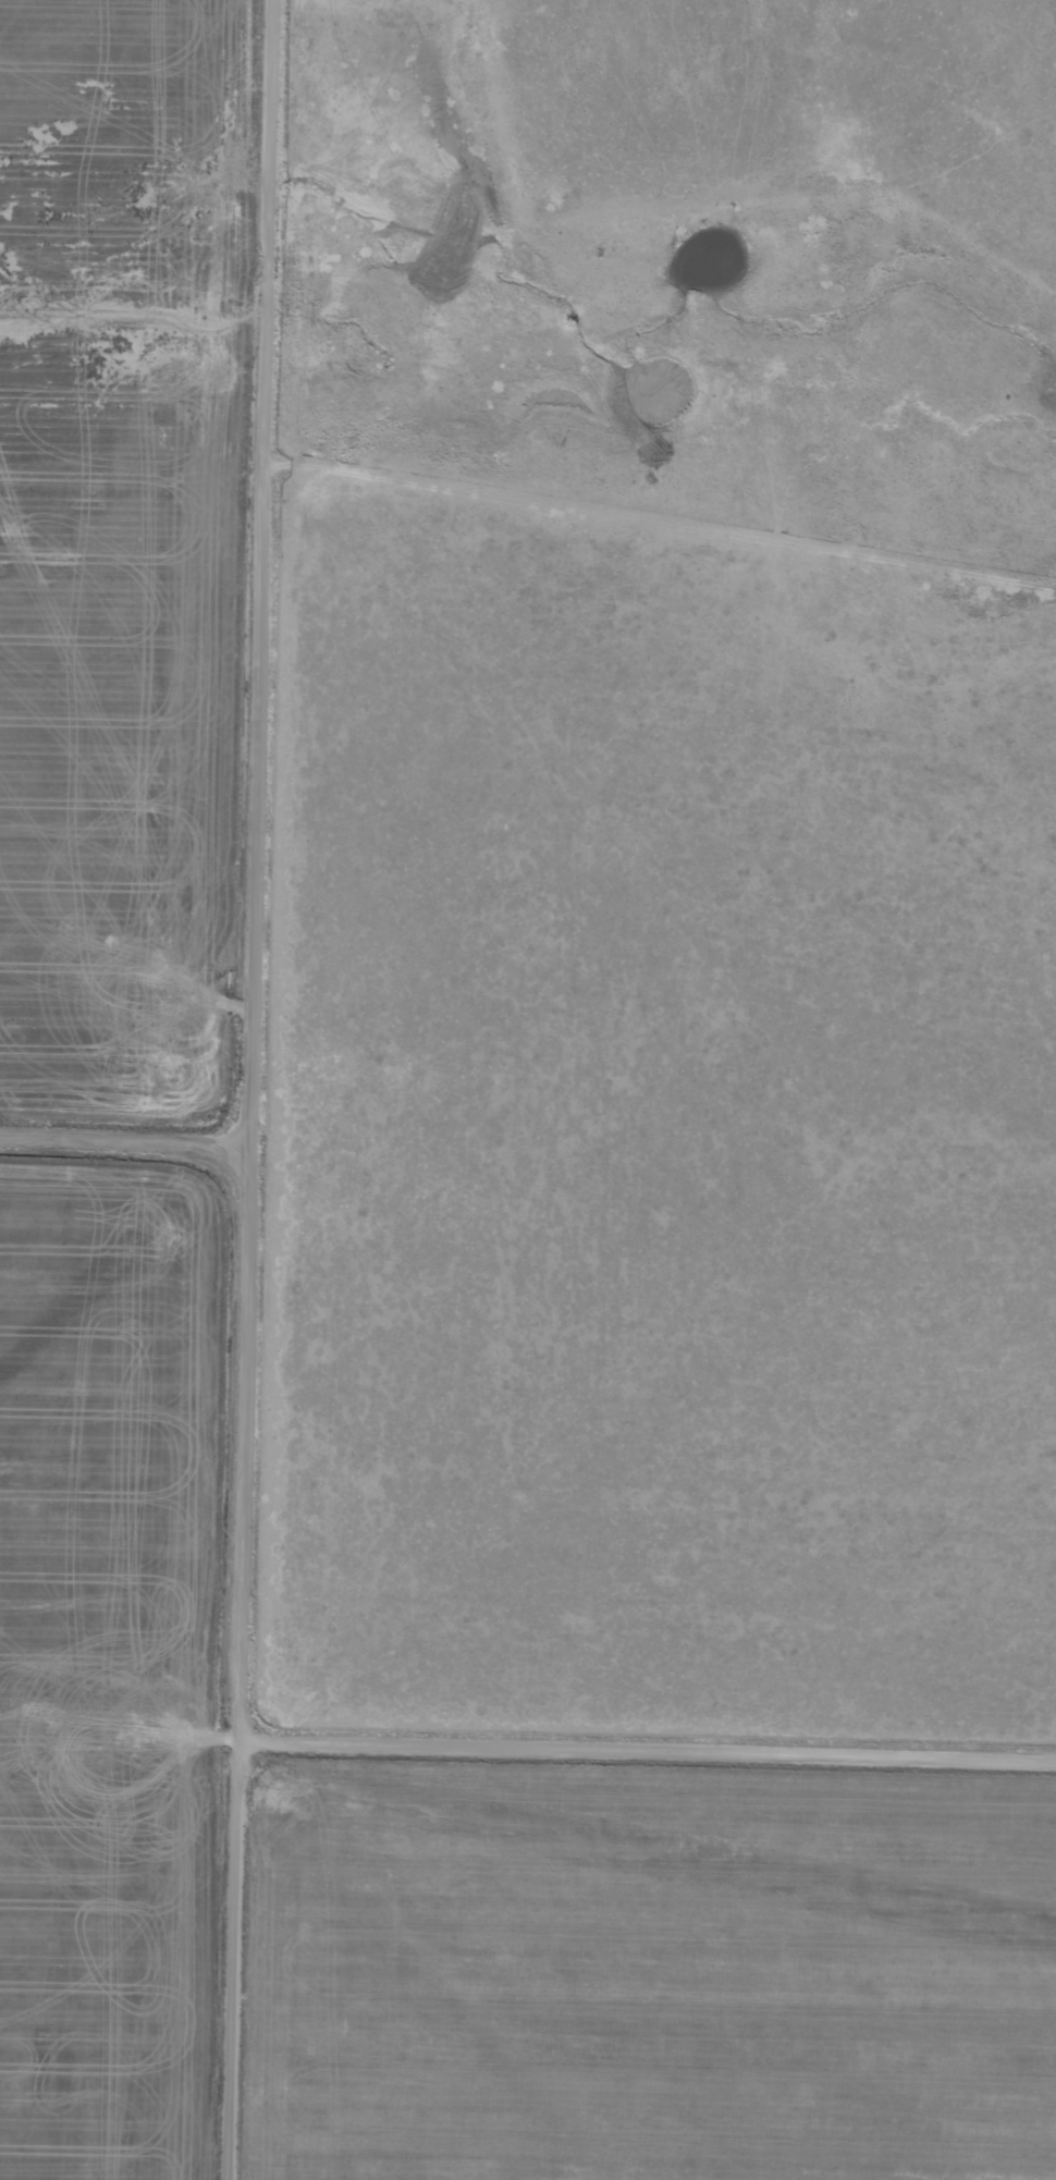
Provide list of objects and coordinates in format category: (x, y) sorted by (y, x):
road: (250, 1089)
road: (125, 1137)
road: (647, 1750)

